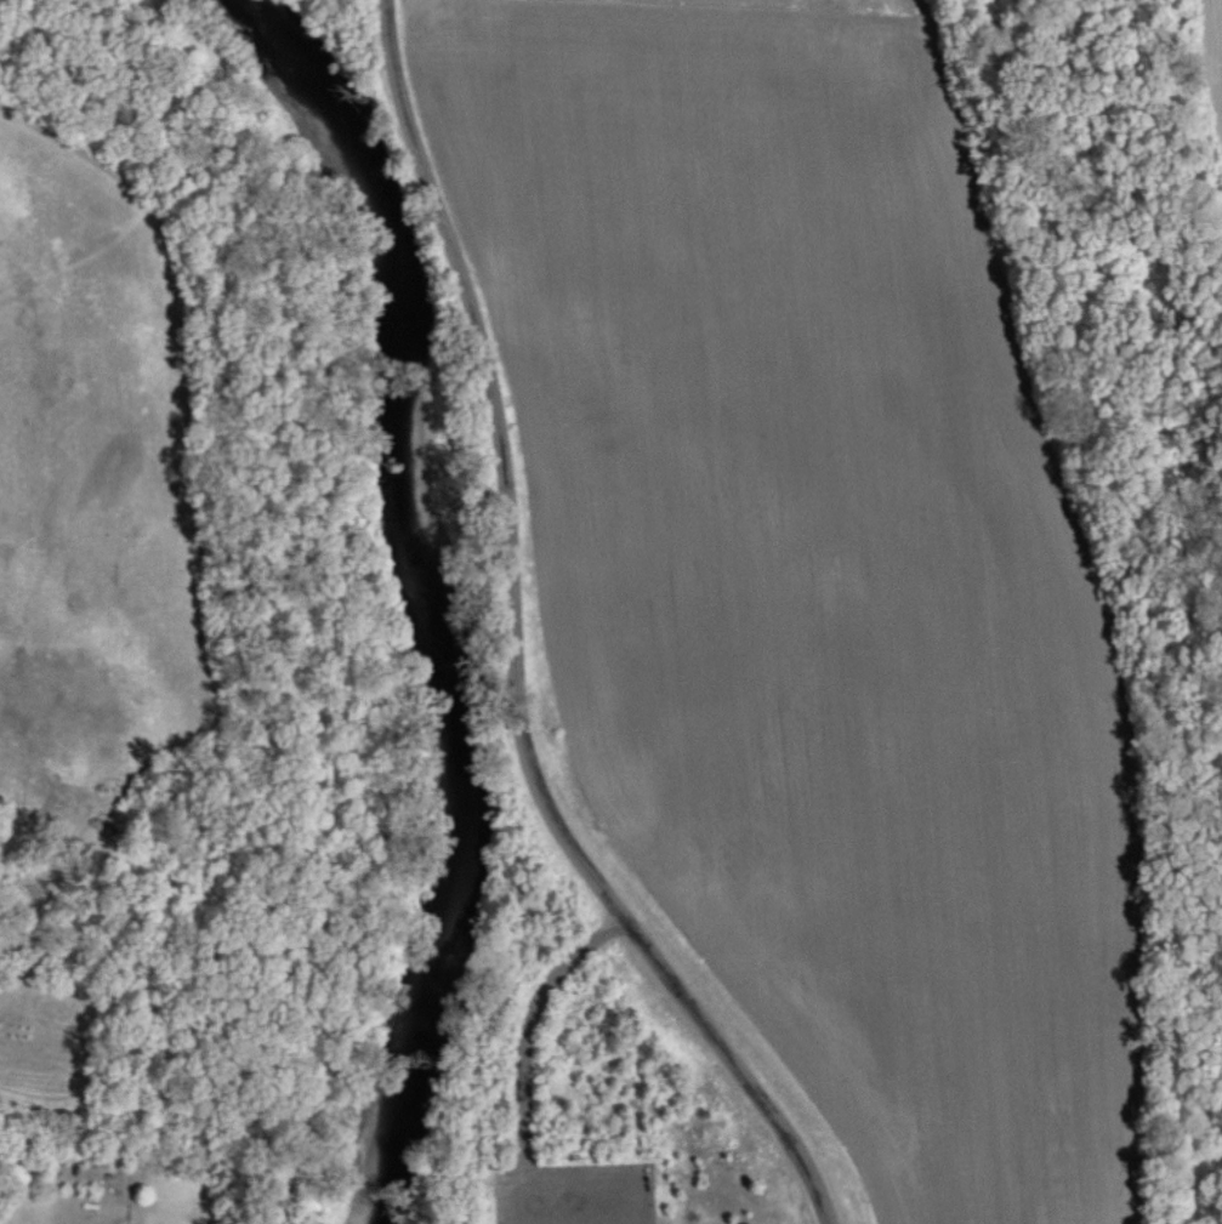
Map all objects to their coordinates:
river: (425, 594)
road: (513, 650)

